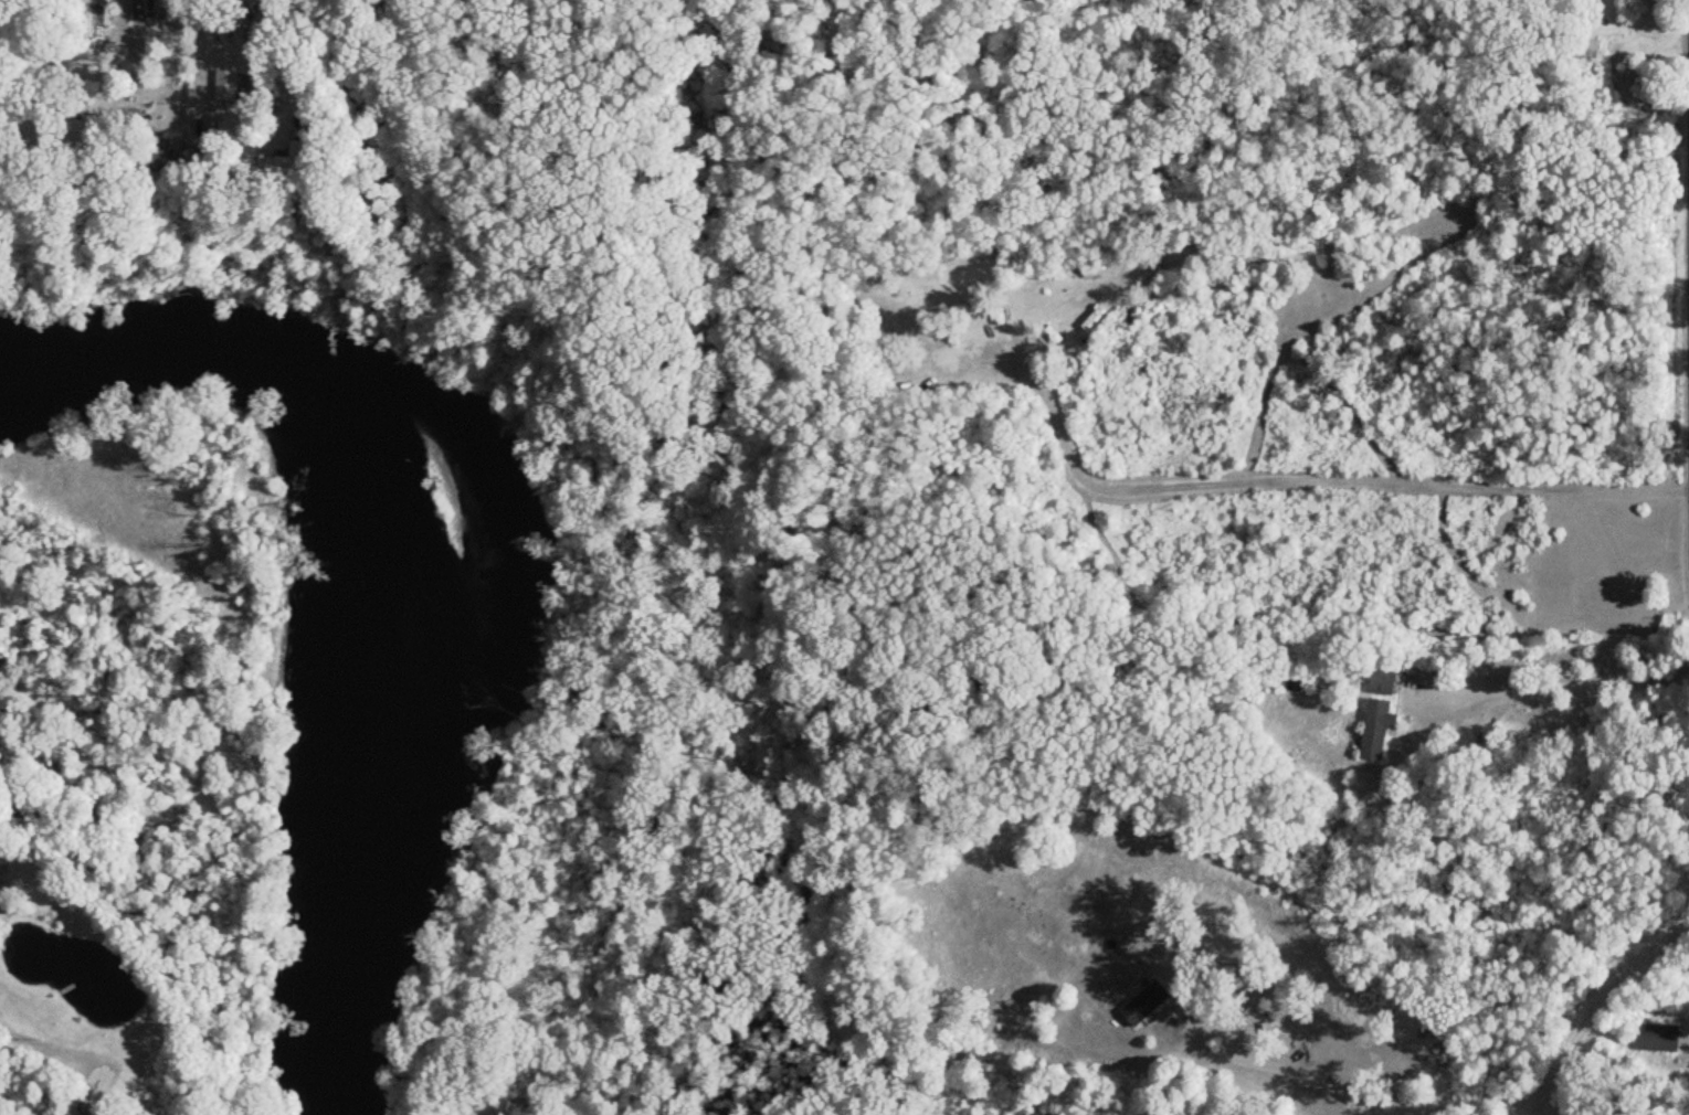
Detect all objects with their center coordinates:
road: (73, 17)
road: (204, 31)
building: (1090, 319)
road: (1310, 484)
river: (353, 591)
road: (1683, 675)
building: (1377, 681)
road: (1556, 682)
building: (1373, 729)
building: (1142, 1005)
road: (1594, 1015)
building: (1655, 1039)
road: (1282, 1072)
road: (1686, 1105)
building: (71, 1114)

